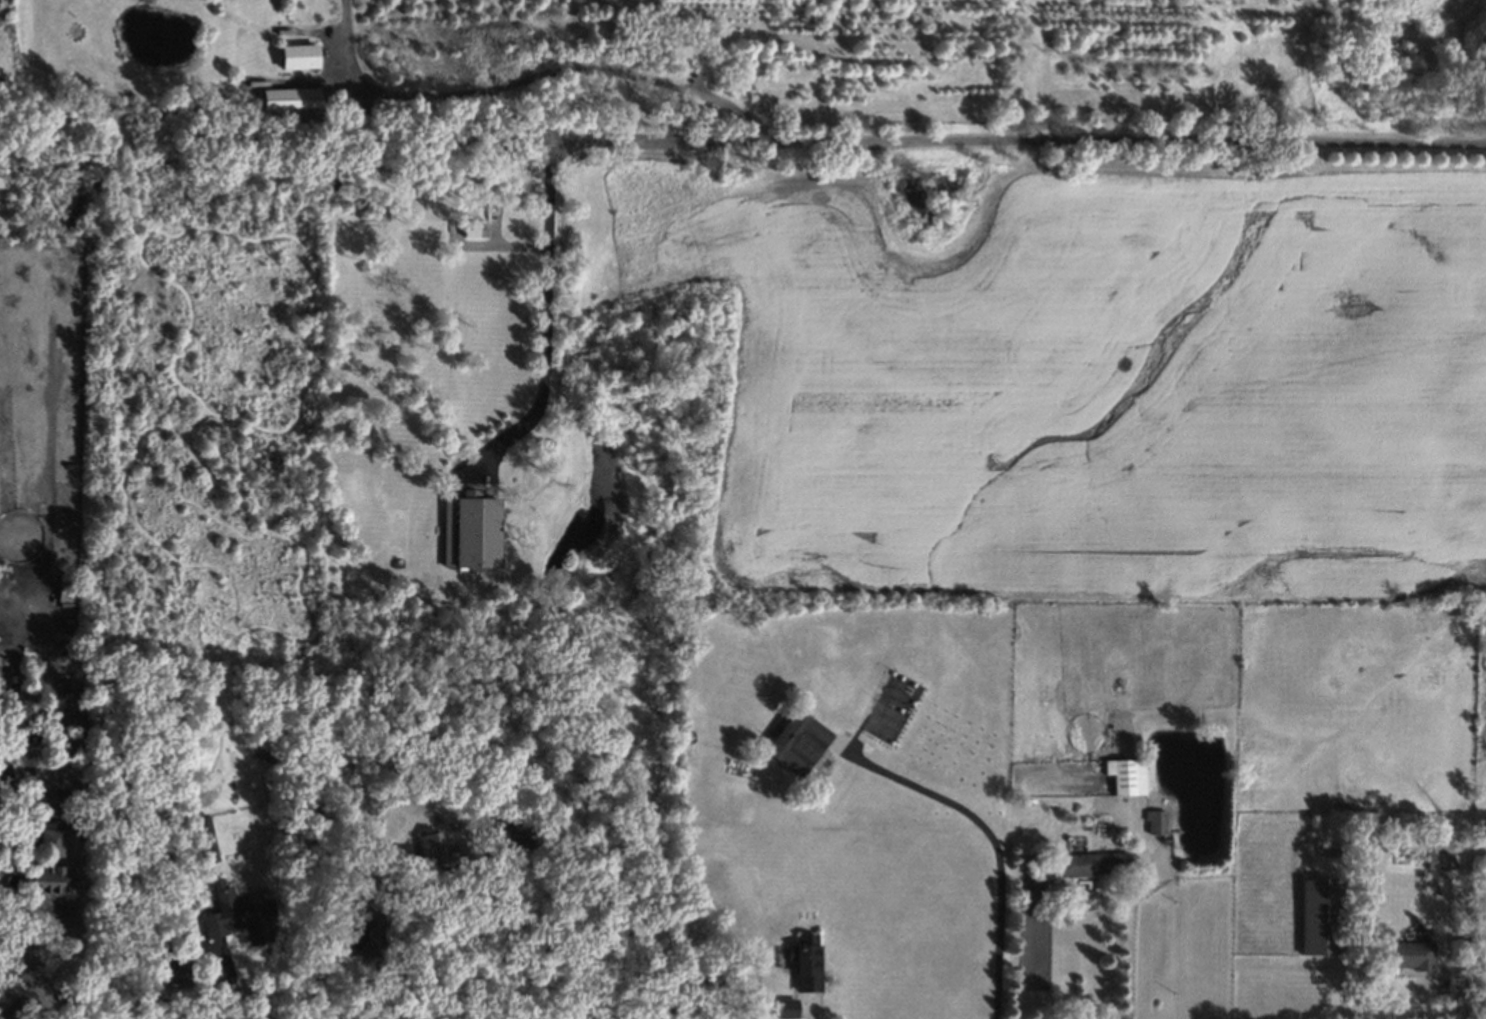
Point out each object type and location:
building: (298, 57)
road: (532, 77)
building: (291, 98)
road: (841, 142)
building: (377, 212)
building: (476, 228)
road: (513, 246)
building: (468, 531)
park: (892, 709)
building: (797, 742)
building: (1127, 777)
building: (45, 795)
building: (1156, 822)
building: (509, 836)
road: (992, 836)
building: (206, 839)
building: (52, 841)
building: (437, 848)
building: (1440, 860)
building: (1092, 864)
building: (51, 878)
building: (240, 915)
building: (1323, 917)
road: (491, 931)
road: (80, 932)
road: (1131, 934)
building: (1410, 956)
building: (803, 962)
building: (178, 971)
road: (232, 980)
building: (786, 1008)

